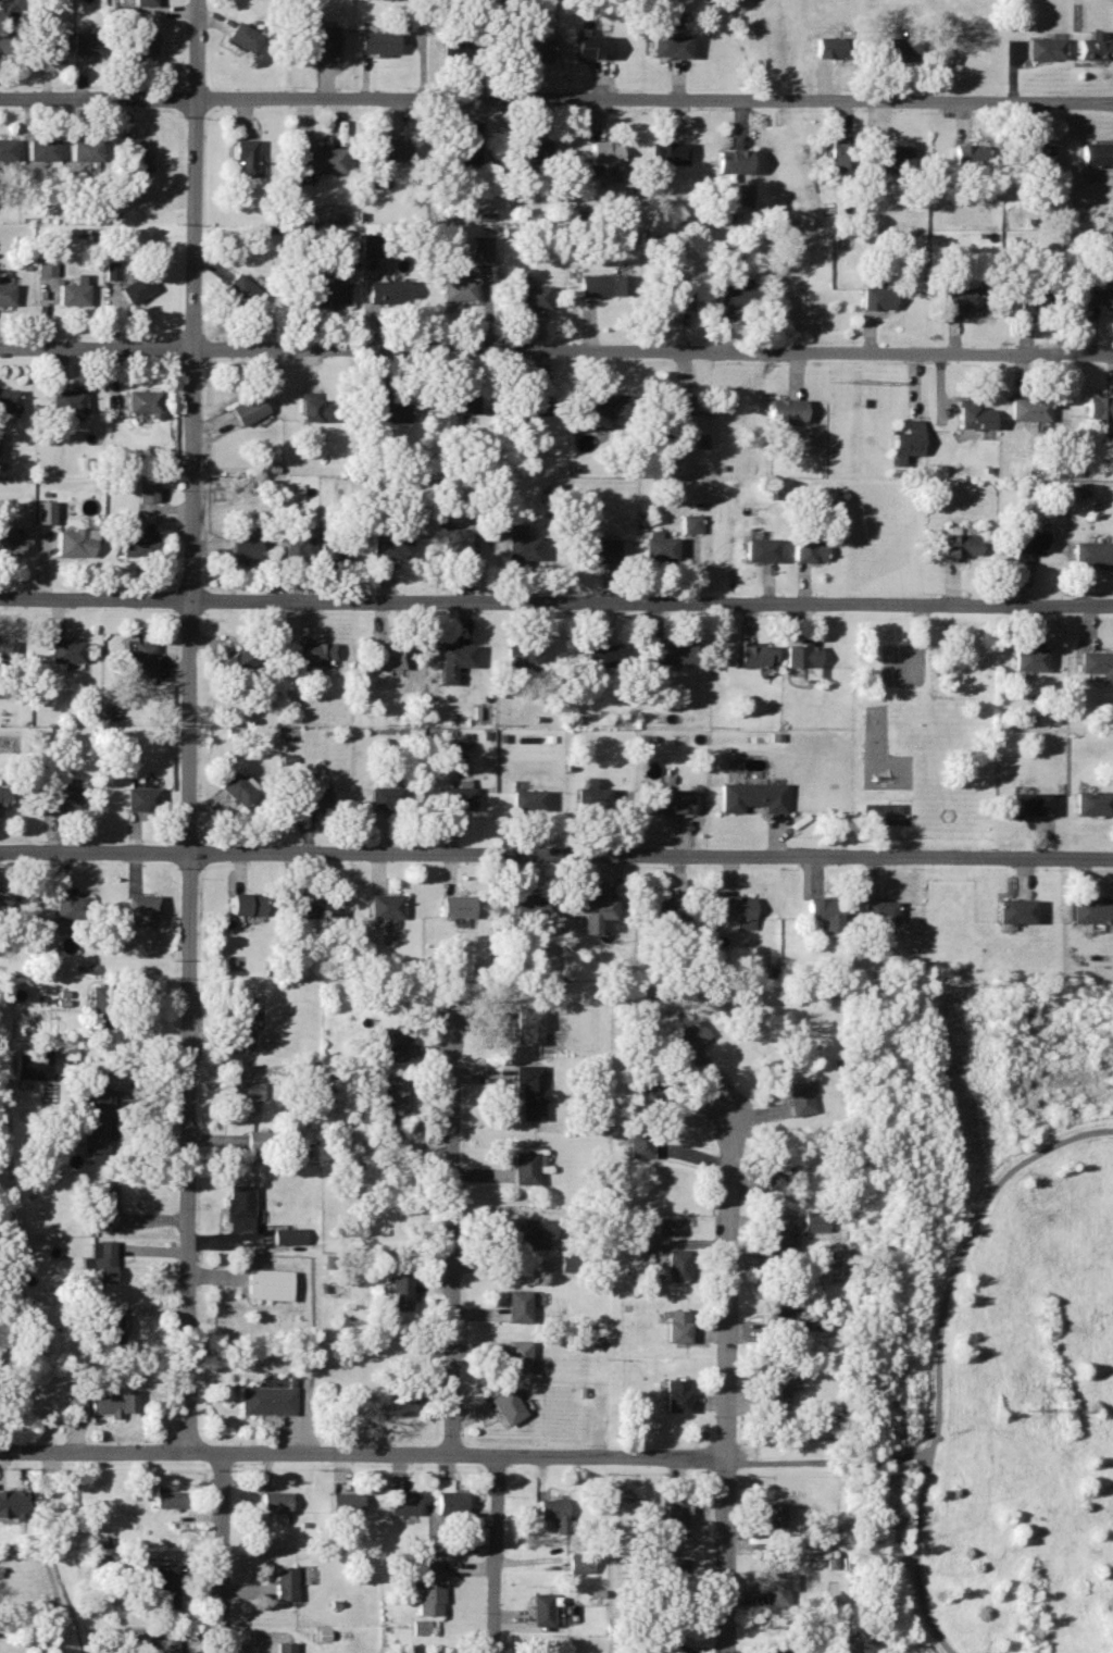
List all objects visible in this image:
building: (146, 2)
building: (1112, 7)
building: (245, 37)
building: (321, 38)
building: (11, 42)
building: (50, 42)
building: (86, 42)
building: (140, 42)
building: (379, 42)
building: (458, 43)
building: (593, 46)
building: (670, 46)
building: (1093, 46)
building: (535, 47)
building: (827, 47)
building: (902, 47)
building: (1045, 49)
road: (556, 97)
building: (42, 148)
building: (86, 148)
building: (392, 148)
building: (7, 149)
building: (534, 149)
building: (462, 150)
building: (604, 152)
building: (670, 152)
building: (968, 152)
building: (1097, 152)
building: (136, 156)
building: (245, 156)
building: (1035, 156)
building: (317, 158)
building: (840, 158)
building: (890, 158)
building: (733, 160)
building: (370, 244)
building: (480, 249)
building: (46, 266)
building: (111, 269)
building: (604, 285)
building: (137, 287)
building: (241, 287)
building: (458, 289)
building: (389, 290)
building: (74, 291)
building: (5, 293)
building: (1098, 293)
building: (332, 294)
building: (733, 295)
building: (530, 297)
building: (876, 297)
building: (675, 298)
building: (962, 298)
building: (1034, 298)
road: (556, 345)
power tower: (829, 381)
building: (9, 400)
building: (67, 401)
building: (142, 401)
building: (532, 402)
building: (460, 403)
building: (676, 403)
building: (604, 405)
building: (1099, 407)
building: (1028, 408)
building: (249, 409)
building: (785, 409)
building: (316, 410)
building: (390, 411)
building: (975, 417)
building: (908, 438)
building: (146, 490)
building: (45, 511)
building: (690, 522)
building: (10, 540)
building: (73, 542)
building: (136, 542)
building: (460, 542)
building: (392, 543)
building: (299, 544)
building: (1030, 544)
building: (958, 545)
building: (245, 546)
building: (334, 546)
building: (661, 546)
building: (523, 547)
building: (602, 549)
building: (762, 549)
building: (810, 549)
building: (1095, 552)
road: (555, 599)
road: (920, 619)
building: (5, 651)
building: (64, 651)
building: (314, 651)
building: (670, 652)
building: (387, 654)
building: (457, 654)
building: (601, 655)
building: (801, 655)
building: (523, 656)
building: (756, 656)
building: (1030, 658)
building: (143, 660)
parking lot: (903, 660)
building: (238, 661)
building: (1099, 662)
road: (184, 723)
park: (922, 725)
building: (240, 787)
building: (313, 795)
building: (388, 795)
building: (2, 796)
building: (752, 797)
building: (60, 798)
building: (141, 798)
building: (454, 798)
building: (530, 799)
building: (595, 800)
building: (674, 803)
building: (1095, 804)
building: (1030, 805)
park: (887, 808)
road: (556, 850)
building: (247, 904)
building: (322, 904)
building: (7, 905)
building: (70, 906)
building: (458, 906)
building: (141, 907)
building: (385, 907)
building: (528, 907)
building: (673, 908)
building: (879, 910)
building: (1092, 910)
building: (1017, 911)
building: (597, 912)
building: (824, 912)
building: (737, 913)
power tower: (941, 982)
building: (98, 1006)
building: (241, 1024)
building: (529, 1027)
building: (689, 1037)
building: (393, 1043)
building: (32, 1062)
building: (660, 1082)
building: (533, 1091)
building: (392, 1096)
building: (243, 1097)
building: (799, 1097)
building: (96, 1119)
building: (259, 1140)
building: (639, 1140)
building: (524, 1167)
building: (777, 1173)
building: (103, 1204)
building: (239, 1205)
building: (814, 1222)
building: (534, 1232)
building: (289, 1233)
road: (451, 1234)
building: (775, 1250)
building: (102, 1256)
building: (567, 1259)
building: (677, 1265)
building: (268, 1283)
road: (726, 1284)
building: (399, 1292)
building: (516, 1305)
building: (775, 1321)
park: (986, 1321)
building: (109, 1323)
building: (677, 1323)
road: (938, 1352)
building: (517, 1356)
building: (775, 1391)
building: (677, 1394)
building: (73, 1399)
building: (264, 1399)
building: (116, 1403)
building: (401, 1403)
building: (507, 1404)
power tower: (1026, 1408)
road: (92, 1449)
road: (455, 1453)
road: (739, 1457)
road: (840, 1458)
building: (168, 1497)
building: (450, 1500)
building: (273, 1502)
building: (345, 1502)
building: (402, 1502)
building: (11, 1504)
building: (555, 1513)
building: (676, 1513)
building: (774, 1516)
road: (220, 1551)
road: (493, 1553)
road: (725, 1554)
building: (121, 1558)
building: (581, 1562)
building: (671, 1577)
building: (283, 1582)
building: (162, 1586)
building: (426, 1587)
building: (777, 1588)
building: (542, 1608)
building: (422, 1626)
building: (132, 1636)
building: (162, 1645)
building: (284, 1646)
building: (540, 1648)
building: (675, 1649)
building: (774, 1650)

